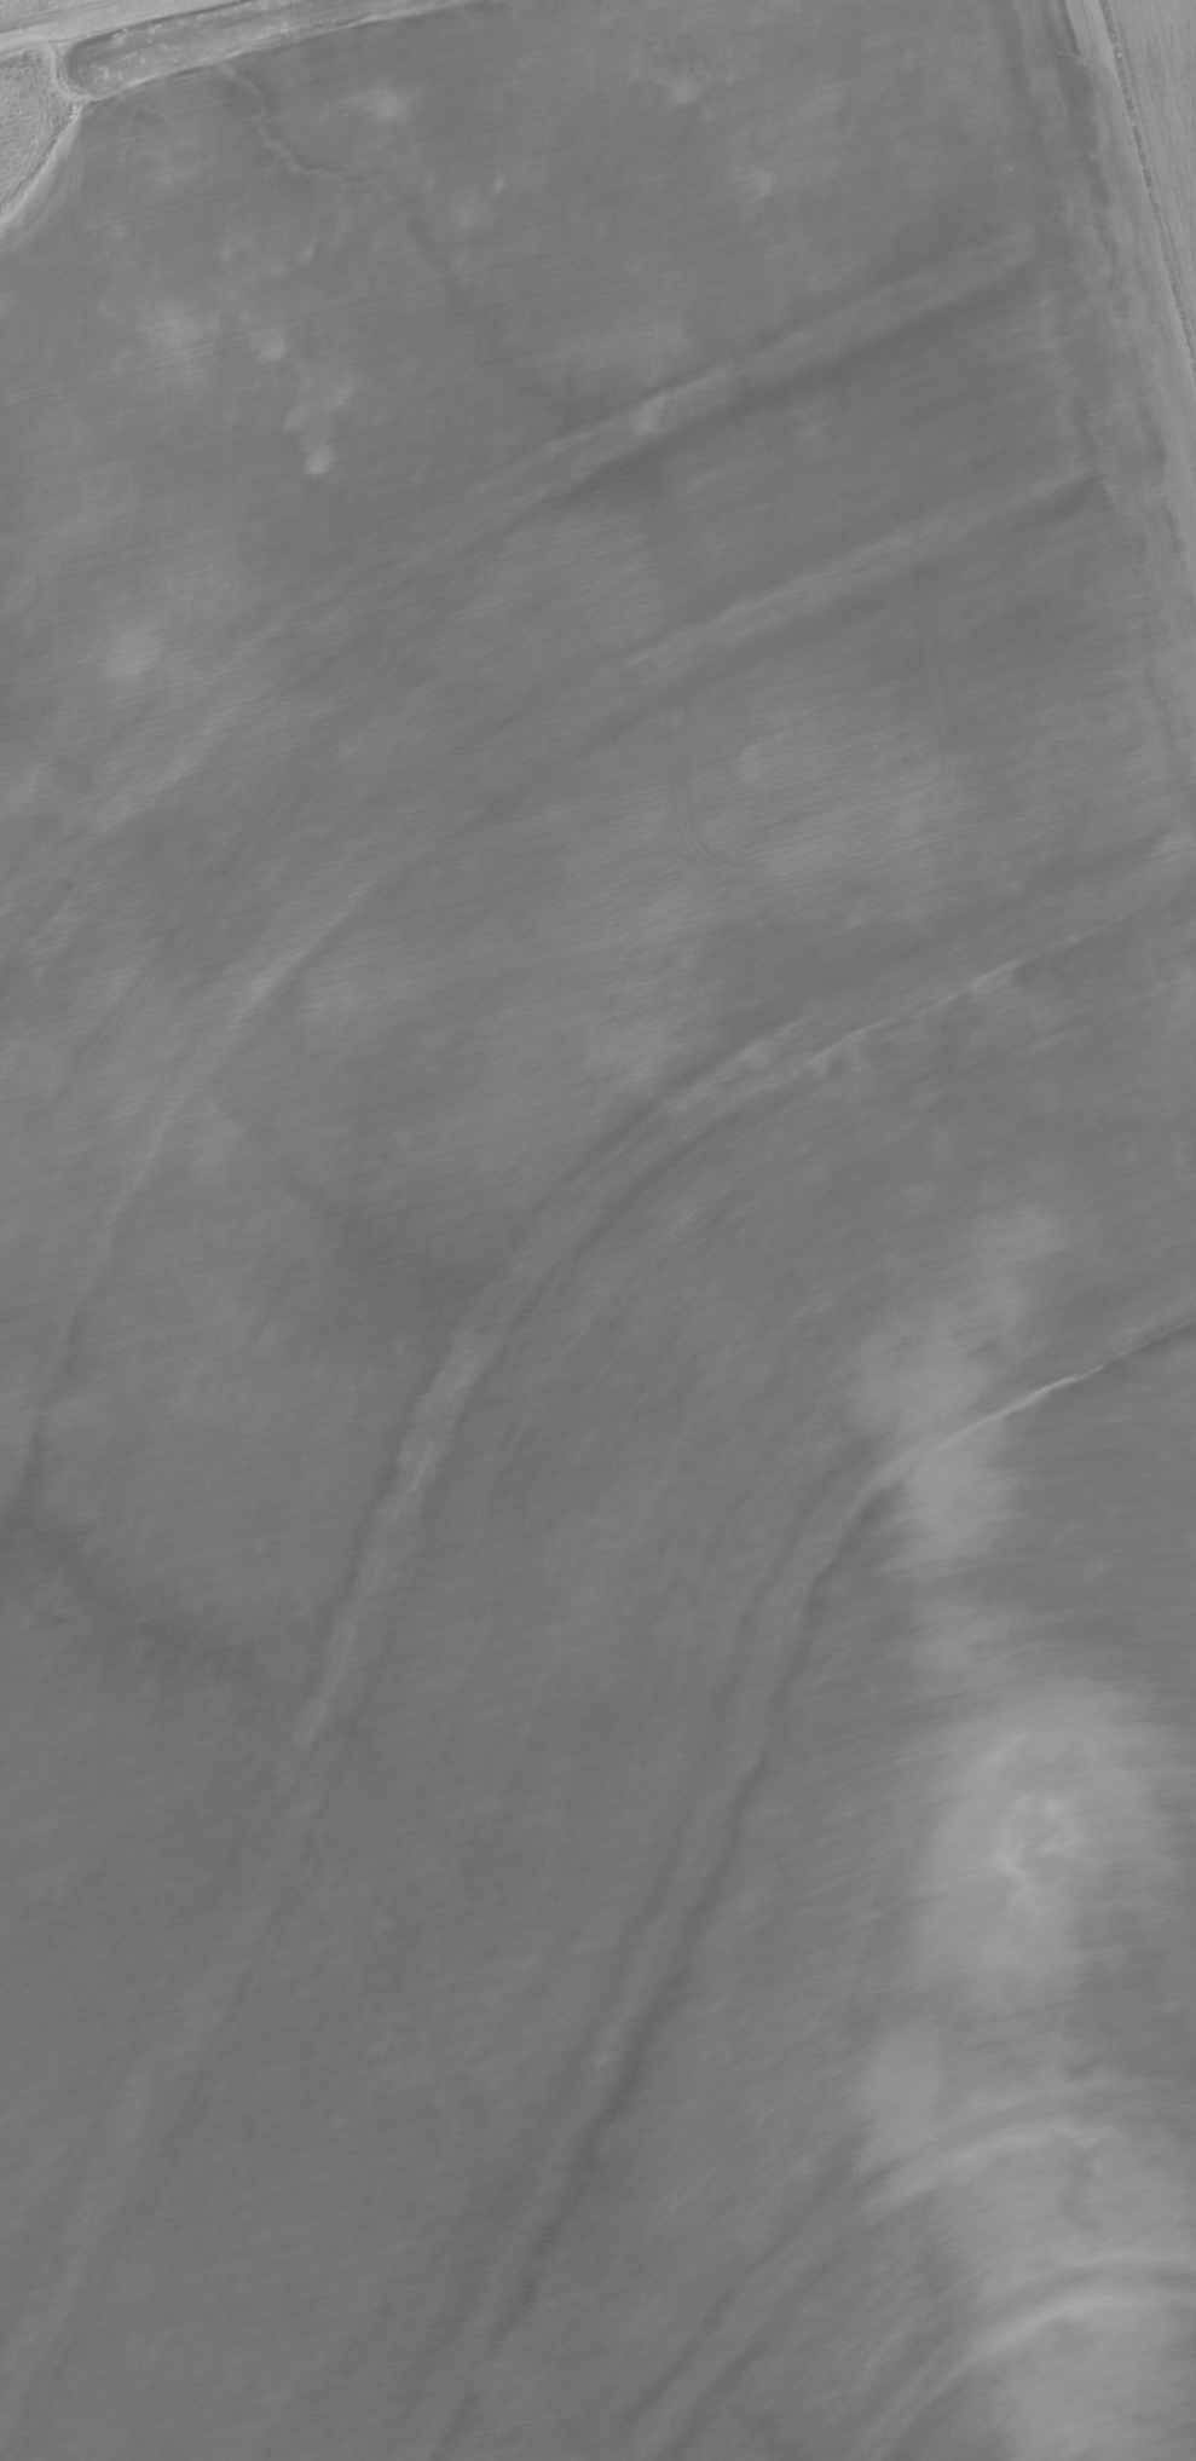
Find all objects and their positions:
road: (1152, 169)

